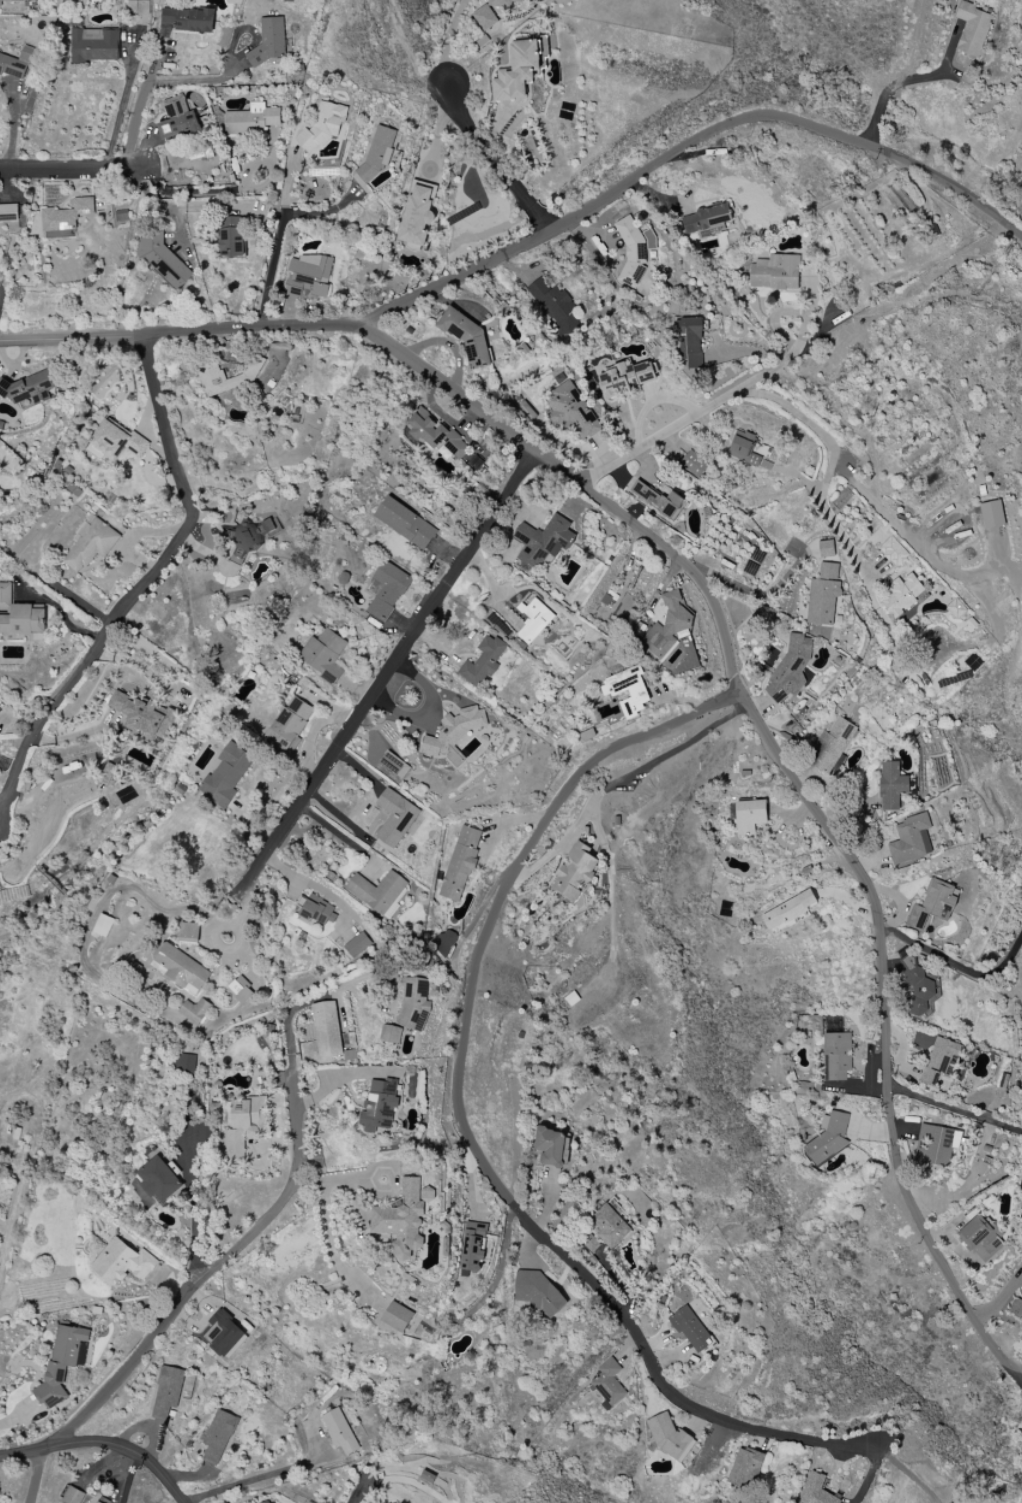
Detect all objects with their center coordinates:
building: (15, 1)
building: (500, 2)
building: (138, 7)
building: (484, 18)
building: (189, 19)
building: (972, 28)
building: (270, 40)
building: (94, 45)
building: (16, 63)
building: (519, 69)
road: (206, 80)
road: (908, 80)
road: (142, 106)
road: (122, 112)
building: (177, 119)
building: (251, 120)
building: (322, 126)
road: (688, 145)
building: (378, 151)
road: (493, 161)
road: (68, 171)
road: (216, 192)
building: (8, 212)
building: (65, 219)
building: (705, 220)
road: (280, 232)
building: (231, 236)
building: (634, 250)
building: (163, 260)
building: (775, 272)
building: (308, 276)
road: (900, 304)
building: (554, 307)
building: (466, 336)
building: (690, 342)
building: (250, 375)
building: (626, 377)
building: (29, 389)
road: (651, 400)
building: (572, 410)
road: (684, 426)
building: (435, 433)
building: (117, 440)
building: (744, 449)
road: (829, 461)
building: (693, 463)
building: (657, 499)
building: (991, 514)
building: (405, 523)
building: (254, 535)
road: (906, 539)
building: (542, 540)
building: (90, 544)
building: (826, 548)
building: (893, 551)
road: (492, 587)
road: (140, 588)
building: (387, 590)
building: (823, 595)
building: (902, 595)
building: (956, 608)
building: (18, 615)
building: (533, 618)
road: (720, 623)
building: (323, 654)
building: (482, 662)
building: (790, 668)
road: (385, 673)
building: (627, 690)
building: (142, 715)
building: (289, 724)
building: (454, 735)
building: (831, 745)
building: (394, 764)
building: (225, 775)
road: (621, 780)
building: (891, 786)
building: (749, 815)
building: (395, 817)
road: (338, 833)
building: (910, 839)
building: (460, 863)
building: (575, 871)
road: (313, 885)
building: (377, 892)
building: (933, 904)
building: (789, 909)
building: (316, 910)
building: (189, 932)
building: (443, 942)
building: (357, 944)
road: (959, 965)
building: (180, 968)
building: (917, 987)
building: (240, 990)
building: (414, 1004)
building: (195, 1009)
building: (326, 1029)
building: (391, 1034)
building: (837, 1056)
building: (940, 1060)
building: (185, 1063)
building: (379, 1105)
road: (953, 1109)
building: (245, 1126)
road: (462, 1126)
building: (830, 1137)
building: (551, 1147)
building: (934, 1147)
building: (159, 1179)
road: (339, 1179)
road: (193, 1211)
building: (403, 1217)
road: (265, 1219)
building: (609, 1226)
building: (980, 1237)
building: (589, 1243)
building: (473, 1246)
building: (122, 1262)
road: (499, 1266)
building: (538, 1292)
building: (1016, 1307)
building: (397, 1316)
building: (690, 1328)
building: (223, 1333)
building: (62, 1363)
building: (609, 1384)
building: (167, 1390)
road: (15, 1416)
building: (339, 1430)
building: (669, 1435)
building: (218, 1436)
road: (101, 1444)
building: (745, 1468)
road: (907, 1473)
road: (34, 1476)
building: (427, 1476)
road: (129, 1480)
road: (253, 1480)
building: (817, 1490)
building: (72, 1496)
building: (97, 1502)

